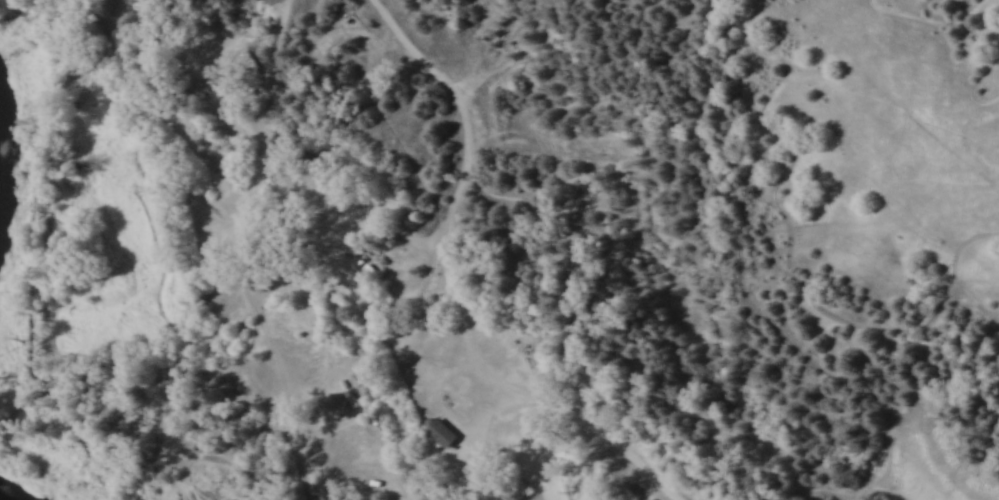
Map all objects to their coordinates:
river: (12, 103)
road: (450, 211)
road: (287, 397)
road: (562, 412)
building: (443, 431)
river: (9, 494)

